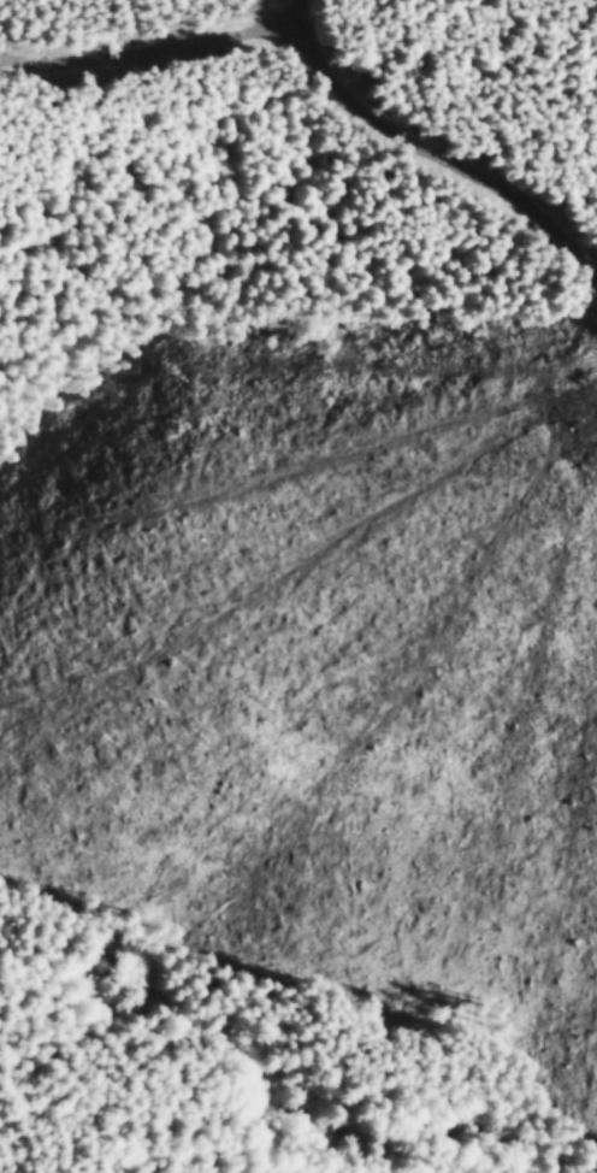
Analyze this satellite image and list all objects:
road: (441, 147)

